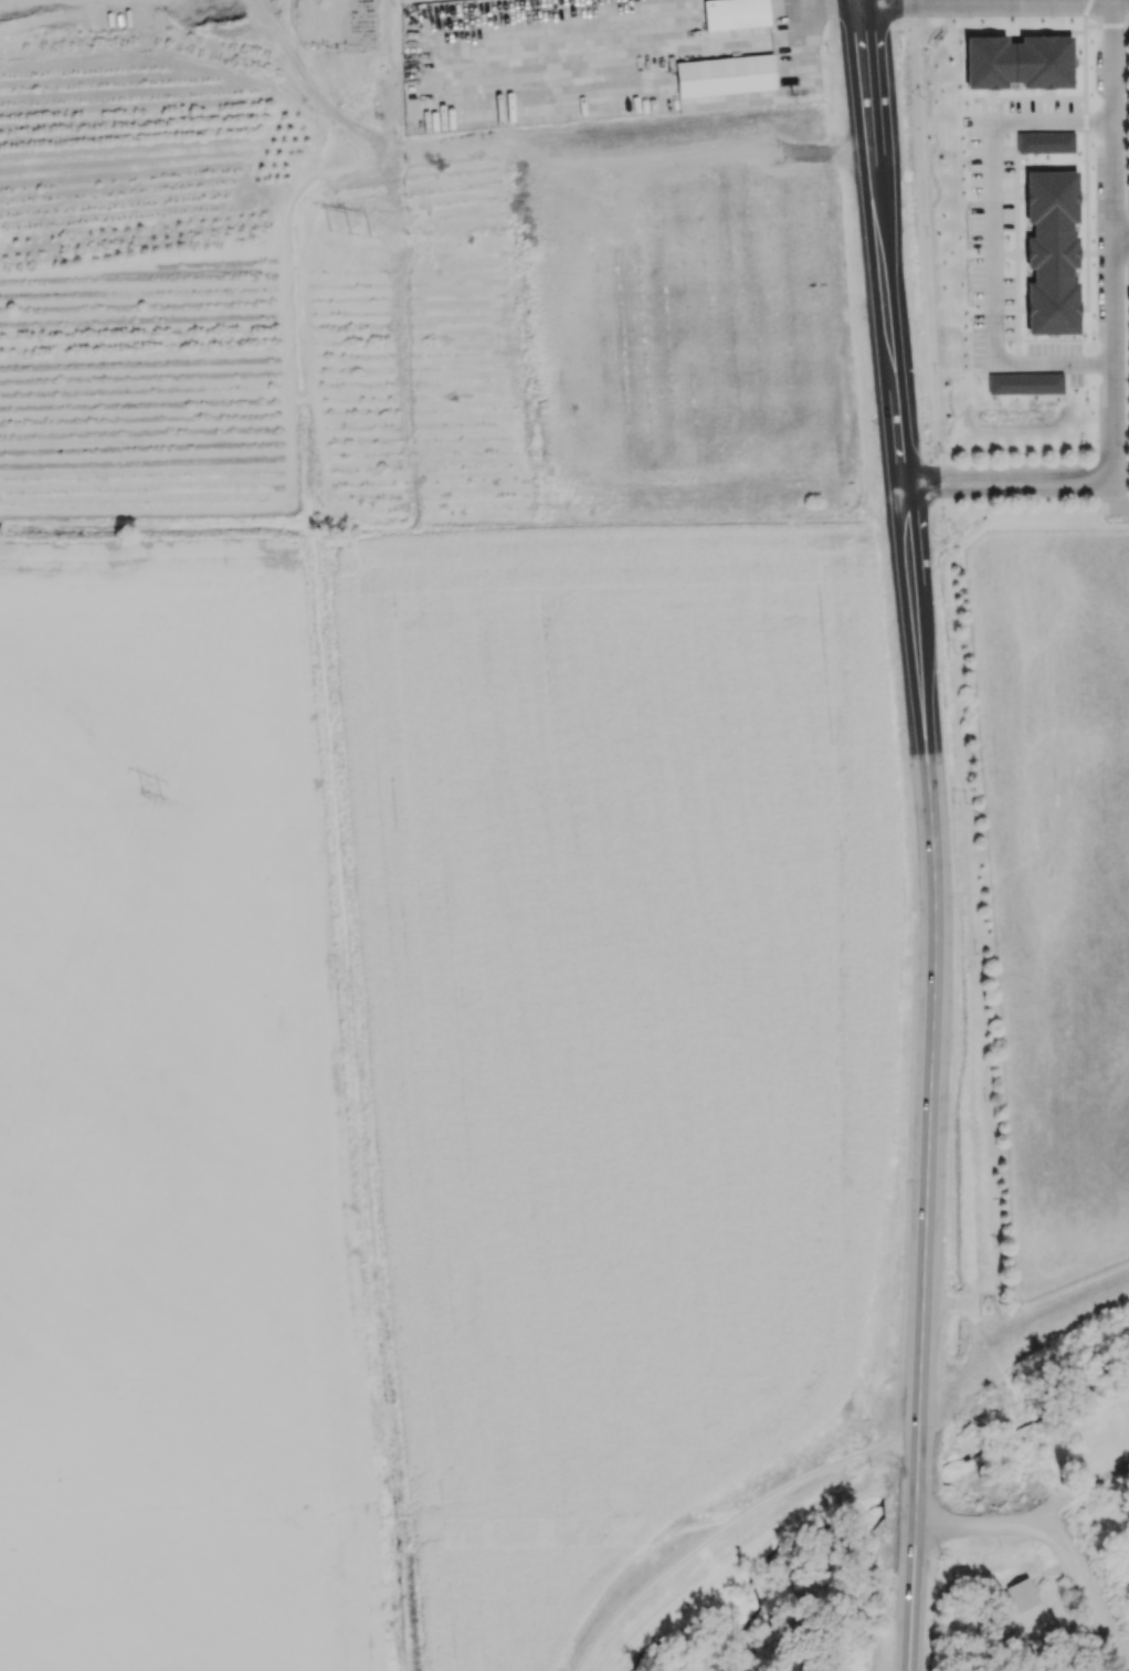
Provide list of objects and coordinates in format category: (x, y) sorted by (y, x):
road: (858, 2)
road: (859, 2)
road: (994, 2)
road: (825, 8)
building: (735, 13)
road: (739, 42)
building: (1019, 62)
building: (724, 75)
building: (1045, 141)
power tower: (349, 229)
road: (1119, 239)
road: (1110, 240)
road: (992, 242)
building: (1051, 252)
road: (887, 333)
building: (1024, 382)
road: (1006, 480)
road: (1118, 494)
power tower: (149, 791)
road: (928, 1165)
road: (1080, 1496)
road: (727, 1523)
road: (1057, 1543)
building: (1021, 1594)

